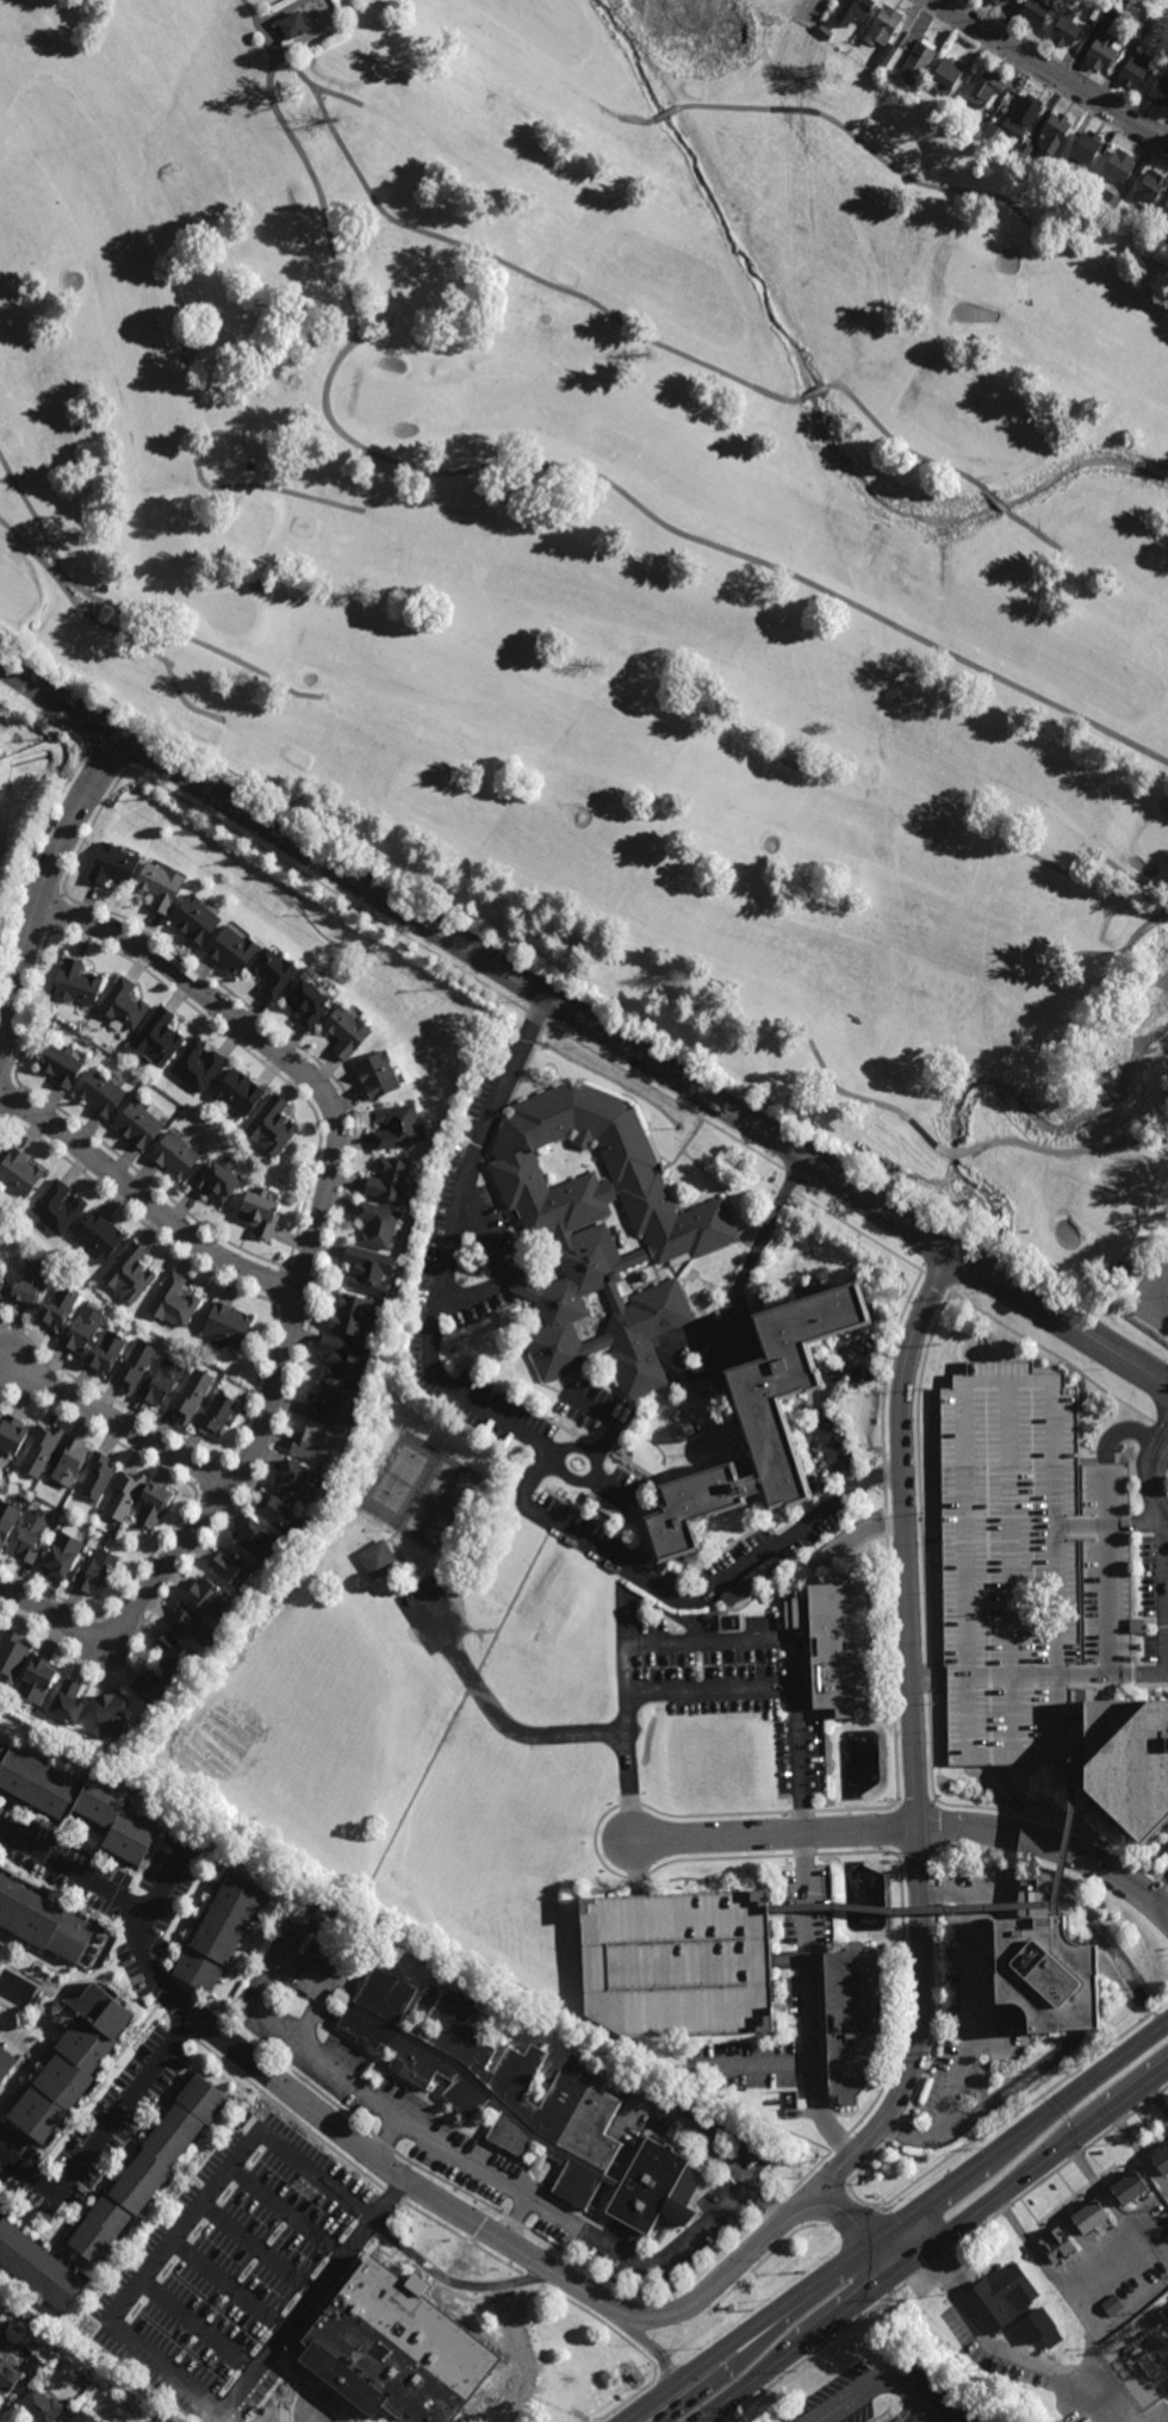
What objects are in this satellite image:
building: (995, 1)
building: (1116, 5)
building: (853, 11)
building: (1035, 12)
building: (294, 23)
building: (883, 27)
building: (825, 30)
building: (1144, 30)
building: (1066, 31)
building: (1101, 51)
building: (887, 54)
building: (918, 62)
road: (1066, 63)
road: (1052, 72)
building: (1135, 72)
building: (890, 74)
building: (948, 74)
road: (1037, 80)
building: (988, 87)
building: (1157, 92)
building: (1029, 111)
road: (666, 113)
road: (636, 119)
building: (993, 132)
building: (1055, 133)
road: (855, 136)
building: (1083, 149)
building: (1023, 151)
building: (1119, 167)
building: (1075, 184)
building: (1150, 187)
building: (1105, 200)
building: (1164, 217)
road: (503, 262)
road: (813, 392)
road: (546, 462)
building: (249, 465)
road: (940, 465)
road: (273, 489)
park: (640, 527)
road: (61, 690)
road: (117, 760)
road: (91, 784)
road: (89, 830)
road: (30, 862)
building: (112, 867)
road: (1069, 872)
building: (157, 884)
road: (43, 886)
road: (323, 888)
road: (41, 889)
road: (62, 894)
road: (55, 911)
building: (194, 920)
road: (29, 924)
road: (51, 931)
road: (1133, 934)
building: (231, 951)
building: (271, 973)
building: (75, 986)
building: (306, 1005)
building: (123, 1006)
road: (31, 1010)
road: (536, 1017)
building: (344, 1035)
building: (156, 1038)
road: (647, 1051)
road: (257, 1058)
road: (8, 1067)
building: (61, 1067)
building: (198, 1067)
building: (377, 1076)
road: (19, 1087)
building: (237, 1093)
building: (100, 1095)
road: (665, 1097)
road: (14, 1103)
road: (10, 1118)
road: (4, 1122)
building: (137, 1126)
building: (271, 1129)
building: (394, 1129)
road: (965, 1149)
building: (175, 1156)
building: (18, 1175)
road: (147, 1180)
road: (789, 1181)
building: (392, 1185)
building: (215, 1186)
road: (144, 1203)
building: (57, 1210)
road: (136, 1218)
building: (260, 1218)
building: (375, 1226)
road: (859, 1232)
building: (599, 1234)
building: (99, 1240)
road: (754, 1257)
road: (307, 1262)
road: (497, 1267)
road: (279, 1268)
building: (367, 1269)
building: (1120, 1272)
road: (305, 1274)
building: (129, 1278)
road: (938, 1283)
road: (277, 1285)
building: (29, 1286)
road: (441, 1287)
building: (1, 1294)
road: (1155, 1297)
road: (273, 1300)
building: (172, 1304)
road: (906, 1306)
road: (313, 1309)
building: (57, 1310)
building: (354, 1317)
road: (293, 1319)
building: (225, 1329)
building: (81, 1330)
building: (105, 1355)
road: (890, 1355)
road: (1055, 1355)
building: (343, 1360)
building: (133, 1368)
building: (159, 1385)
road: (1008, 1386)
road: (256, 1389)
road: (102, 1395)
building: (191, 1396)
road: (825, 1398)
building: (328, 1408)
road: (882, 1415)
building: (1, 1416)
building: (213, 1417)
building: (759, 1418)
road: (118, 1423)
road: (616, 1427)
road: (1161, 1427)
road: (98, 1434)
building: (11, 1435)
road: (1123, 1436)
building: (318, 1447)
building: (41, 1451)
building: (69, 1461)
road: (215, 1461)
road: (244, 1467)
road: (205, 1472)
road: (920, 1476)
road: (884, 1477)
building: (97, 1478)
building: (299, 1483)
road: (195, 1484)
building: (124, 1496)
road: (886, 1502)
building: (155, 1504)
building: (604, 1507)
road: (212, 1508)
building: (282, 1519)
building: (7, 1522)
road: (1107, 1524)
road: (1166, 1524)
road: (887, 1527)
building: (29, 1539)
building: (256, 1542)
building: (61, 1557)
building: (378, 1559)
road: (818, 1567)
building: (232, 1571)
road: (1011, 1572)
parking lot: (1027, 1572)
building: (95, 1575)
road: (1106, 1577)
building: (752, 1579)
road: (118, 1596)
parking lot: (1155, 1596)
road: (685, 1597)
building: (209, 1600)
road: (1166, 1607)
building: (197, 1628)
building: (834, 1641)
road: (706, 1644)
building: (172, 1656)
building: (11, 1657)
road: (891, 1669)
road: (1167, 1676)
road: (928, 1678)
building: (36, 1681)
road: (927, 1682)
building: (149, 1690)
building: (66, 1703)
building: (110, 1716)
road: (534, 1738)
road: (443, 1741)
road: (931, 1746)
road: (973, 1756)
building: (1126, 1765)
building: (75, 1801)
road: (934, 1802)
road: (899, 1805)
road: (630, 1806)
road: (917, 1806)
road: (855, 1809)
road: (801, 1813)
road: (715, 1815)
road: (1052, 1822)
road: (911, 1828)
road: (901, 1830)
road: (937, 1830)
road: (1064, 1831)
road: (595, 1843)
road: (856, 1853)
road: (921, 1853)
road: (899, 1855)
road: (803, 1856)
road: (717, 1858)
road: (937, 1870)
road: (634, 1871)
road: (634, 1877)
road: (160, 1883)
road: (1162, 1883)
road: (1157, 1887)
road: (969, 1893)
road: (938, 1899)
road: (1164, 1906)
road: (908, 1911)
building: (41, 1923)
building: (219, 1933)
building: (319, 1950)
road: (791, 1958)
building: (676, 1963)
parking lot: (681, 1964)
road: (141, 1975)
building: (1044, 1975)
road: (162, 2001)
road: (813, 2001)
road: (132, 2004)
road: (906, 2004)
road: (191, 2017)
road: (169, 2018)
building: (853, 2019)
road: (974, 2019)
road: (940, 2020)
road: (204, 2026)
road: (287, 2032)
road: (133, 2033)
road: (190, 2037)
building: (5, 2064)
building: (69, 2066)
road: (753, 2066)
road: (346, 2076)
road: (104, 2082)
road: (280, 2086)
road: (899, 2095)
road: (1157, 2099)
road: (333, 2104)
building: (522, 2104)
road: (988, 2106)
road: (288, 2117)
road: (1008, 2119)
road: (899, 2131)
road: (23, 2136)
road: (389, 2138)
road: (840, 2143)
road: (383, 2145)
road: (1139, 2149)
road: (719, 2151)
road: (822, 2161)
road: (33, 2162)
building: (1162, 2162)
road: (871, 2163)
building: (148, 2168)
road: (15, 2178)
road: (831, 2178)
road: (1037, 2185)
road: (449, 2186)
road: (796, 2186)
building: (1129, 2187)
road: (1102, 2190)
road: (4, 2192)
road: (72, 2194)
road: (44, 2196)
road: (392, 2197)
road: (291, 2209)
road: (771, 2210)
building: (1089, 2213)
road: (934, 2215)
road: (29, 2216)
road: (514, 2223)
road: (186, 2224)
road: (900, 2224)
road: (62, 2225)
road: (574, 2227)
road: (861, 2228)
road: (462, 2238)
road: (45, 2241)
road: (933, 2244)
road: (261, 2246)
road: (1029, 2246)
building: (1055, 2246)
building: (37, 2265)
road: (582, 2265)
road: (707, 2268)
road: (532, 2280)
road: (454, 2284)
road: (230, 2286)
road: (1071, 2292)
building: (999, 2298)
road: (311, 2300)
building: (1112, 2305)
building: (8, 2309)
road: (629, 2316)
building: (7, 2323)
road: (602, 2323)
road: (199, 2328)
building: (1039, 2328)
road: (889, 2330)
road: (651, 2343)
road: (1018, 2350)
road: (1092, 2350)
road: (815, 2352)
building: (389, 2355)
power substation: (1143, 2359)
building: (33, 2364)
building: (996, 2370)
building: (91, 2372)
road: (722, 2376)
building: (7, 2377)
road: (621, 2392)
road: (859, 2393)
building: (128, 2403)
road: (913, 2405)
road: (922, 2405)
building: (39, 2407)
road: (717, 2415)
road: (834, 2416)
road: (880, 2416)
building: (80, 2417)
building: (114, 2417)
road: (889, 2420)
road: (937, 2421)

